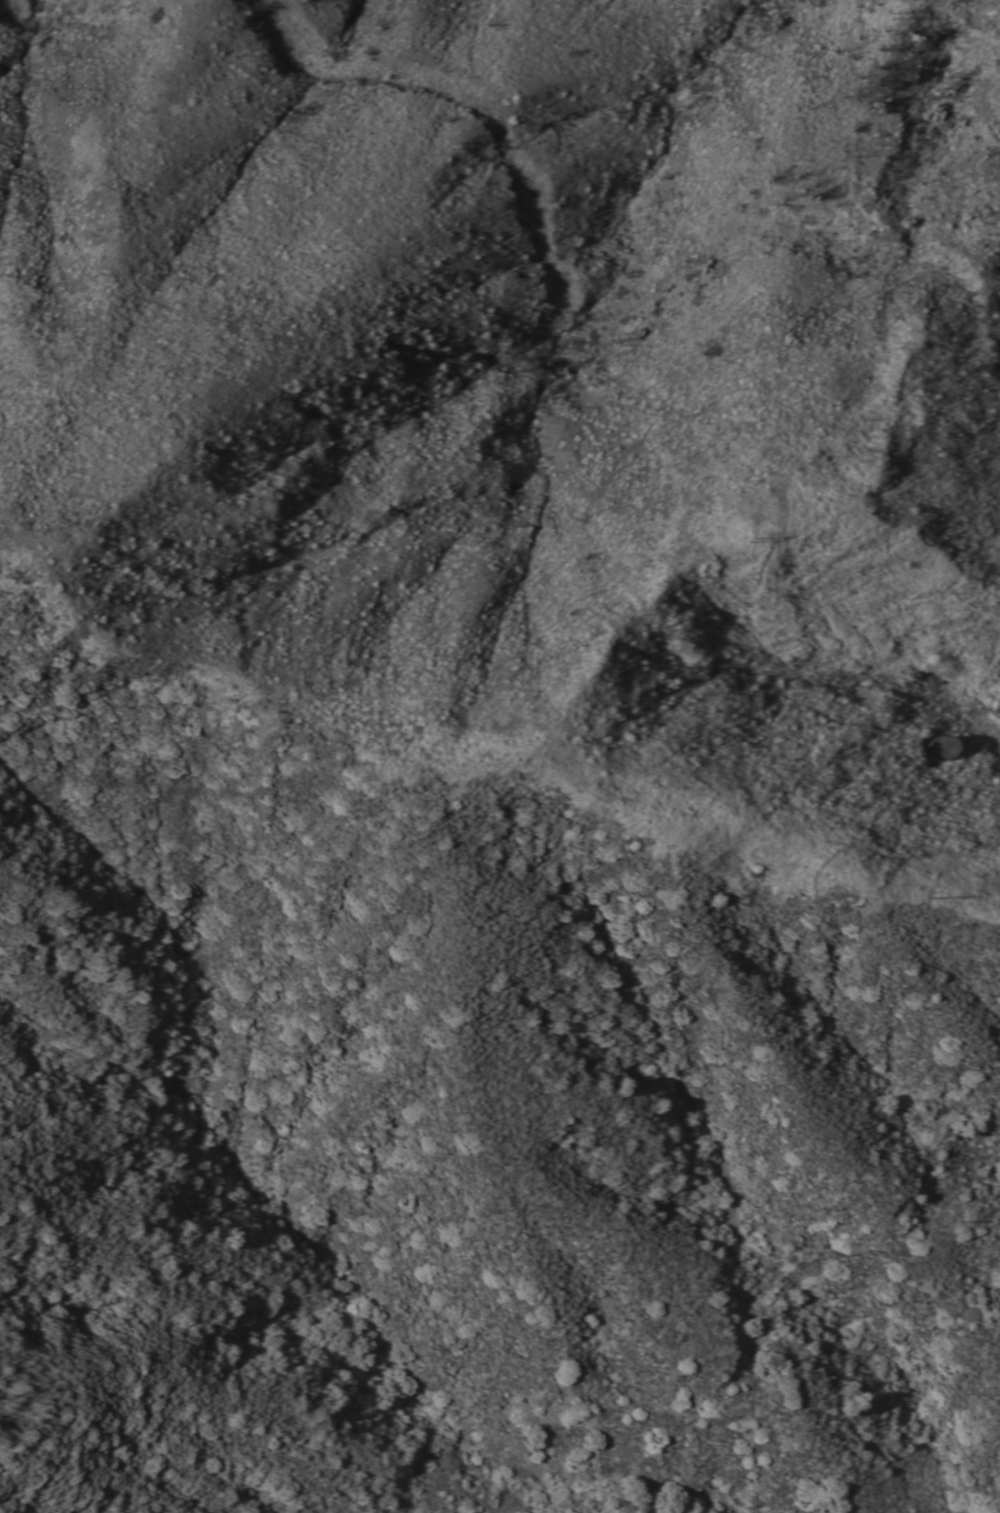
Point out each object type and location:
building: (942, 746)
building: (968, 1312)

